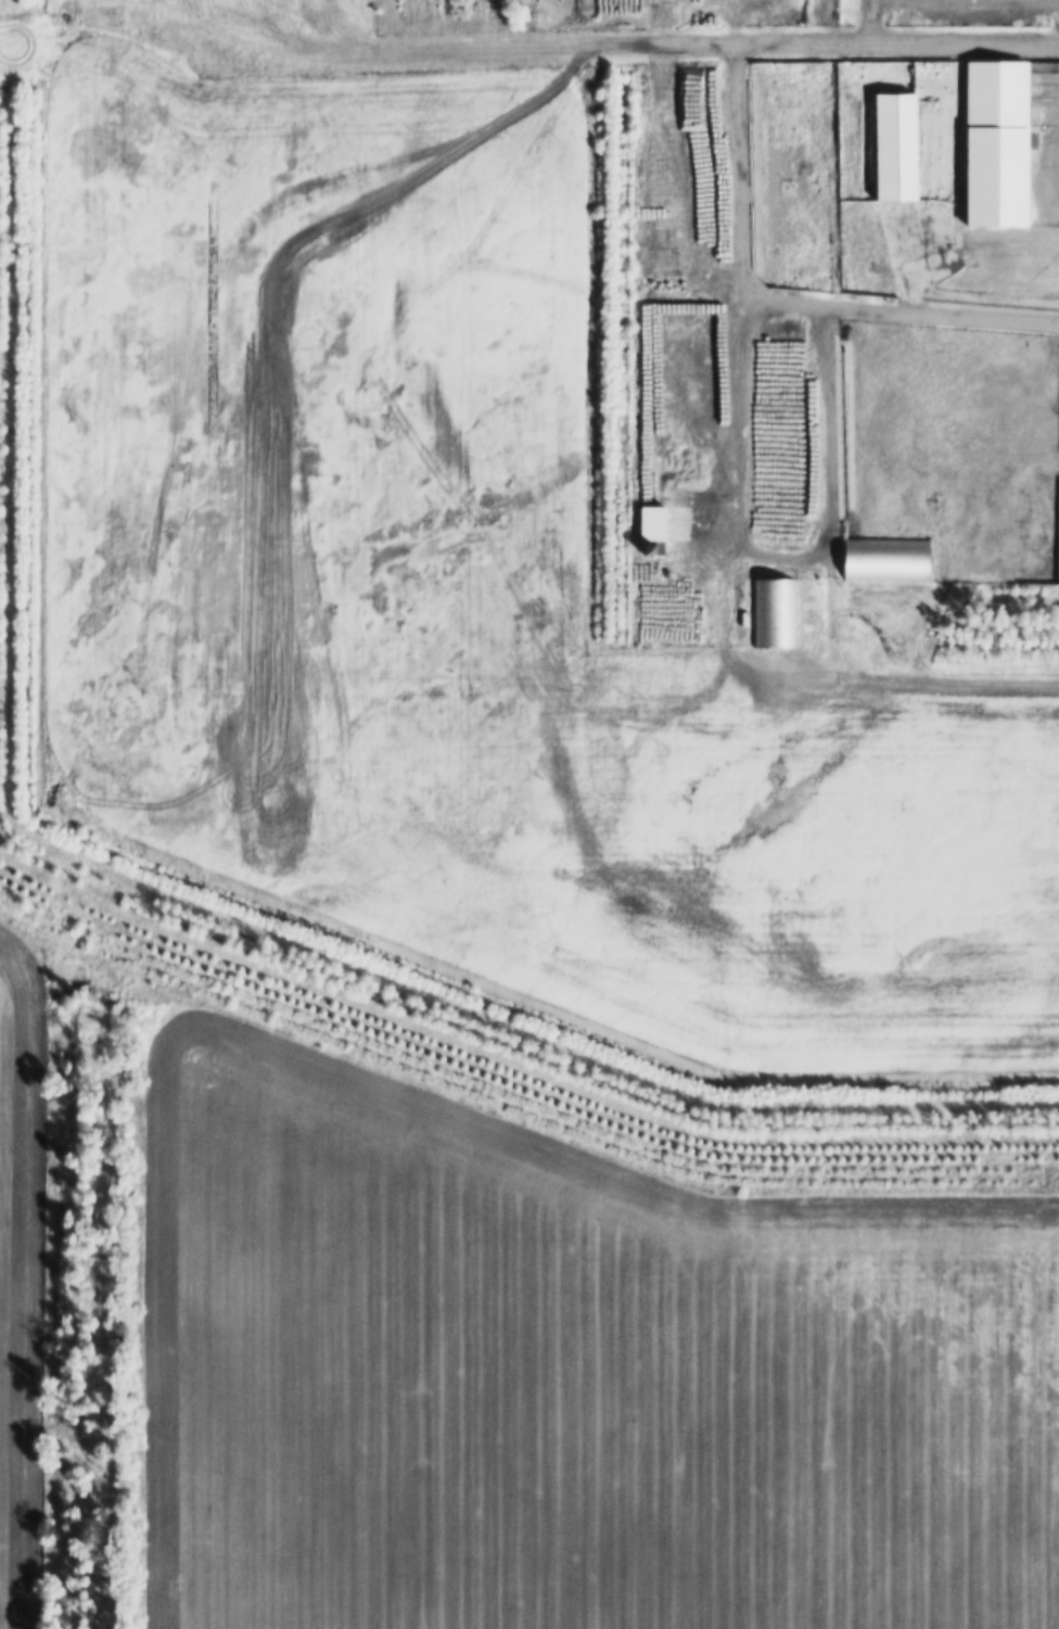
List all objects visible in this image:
building: (999, 123)
building: (892, 162)
building: (886, 559)
building: (774, 613)

